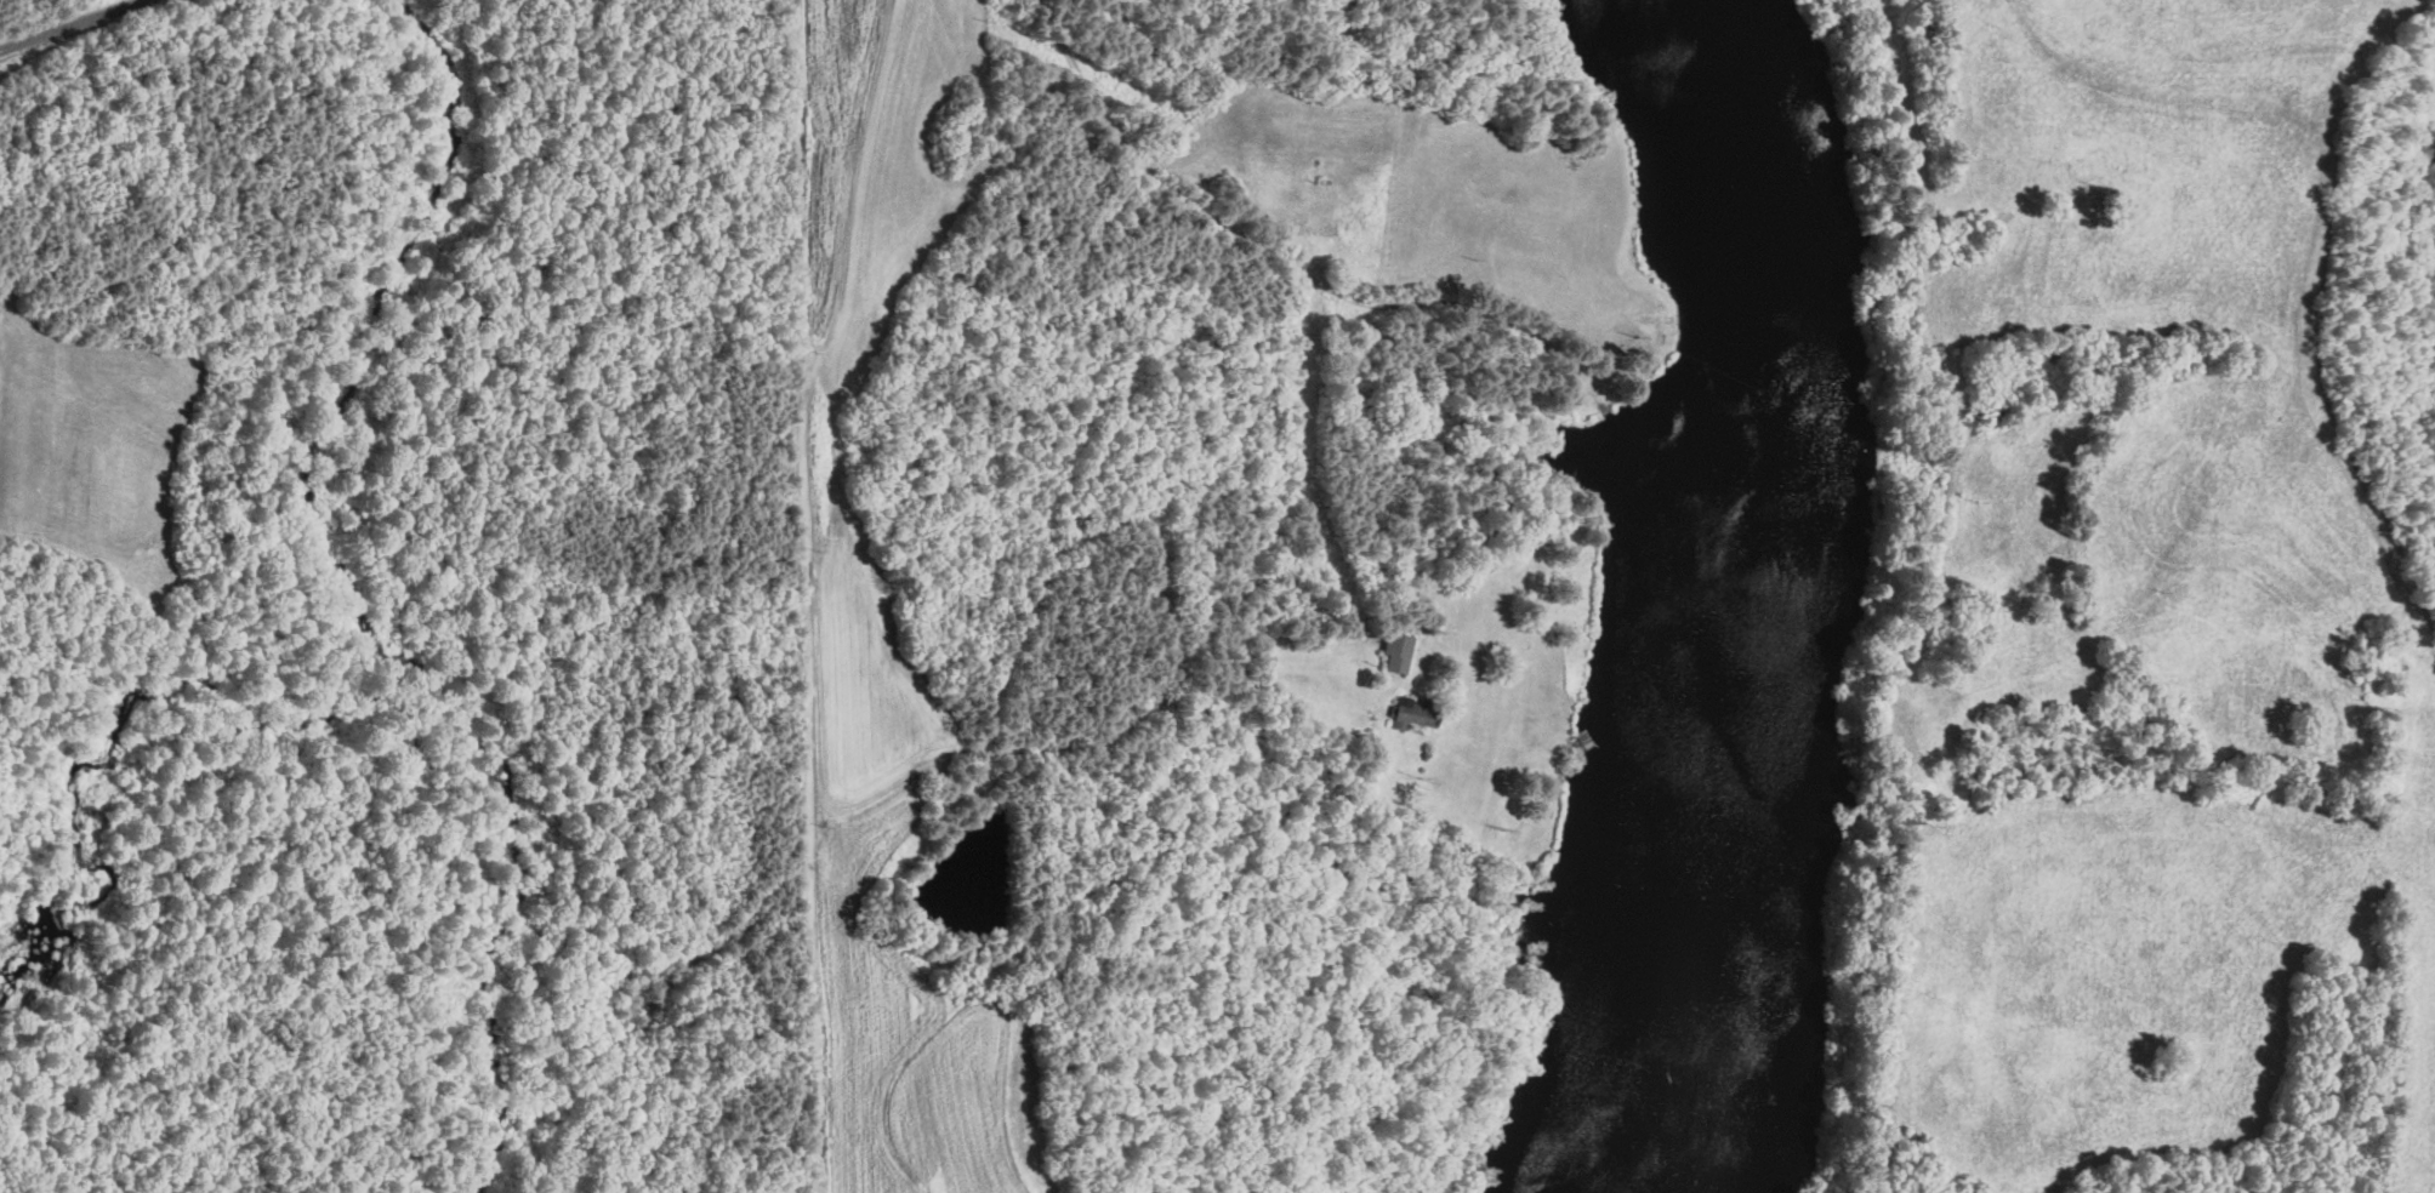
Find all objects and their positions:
road: (58, 17)
road: (1248, 246)
road: (791, 594)
building: (1395, 649)
building: (1409, 712)

